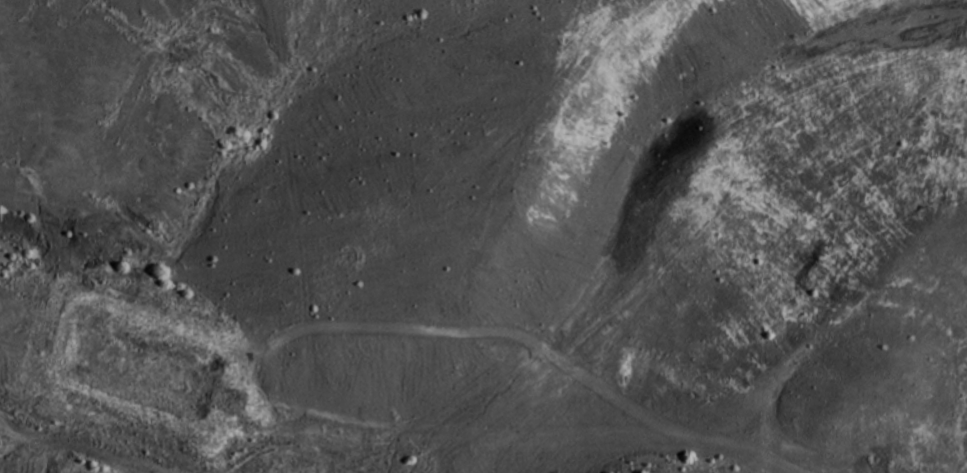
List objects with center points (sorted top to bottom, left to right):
quarry: (483, 236)

